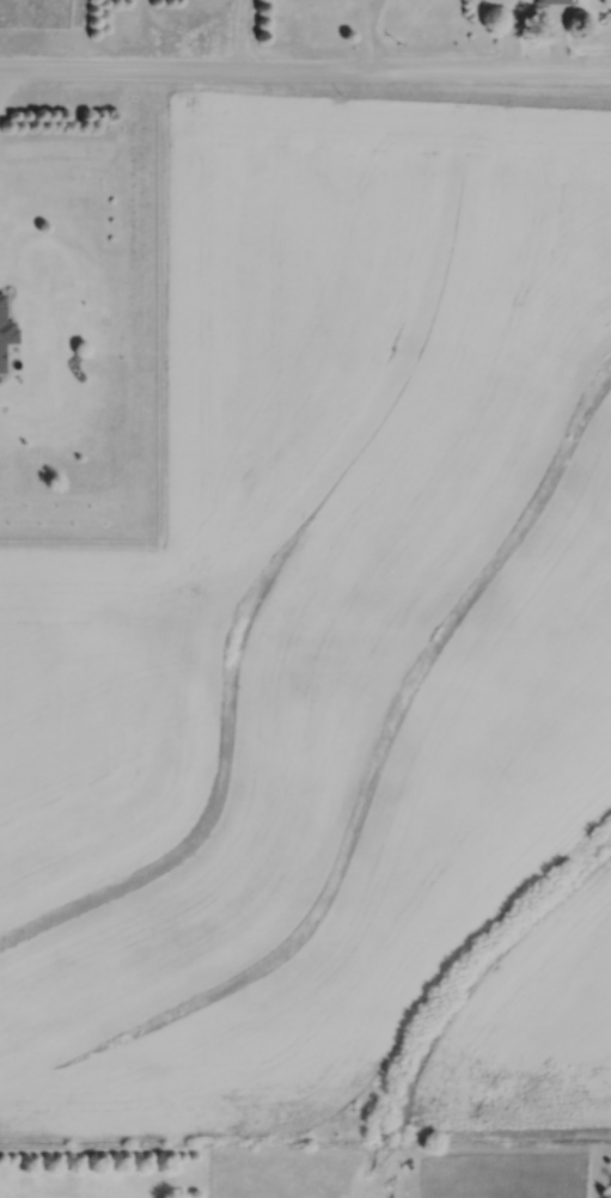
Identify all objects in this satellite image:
building: (554, 1)
road: (368, 10)
road: (365, 35)
road: (305, 69)
road: (5, 81)
building: (2, 319)

